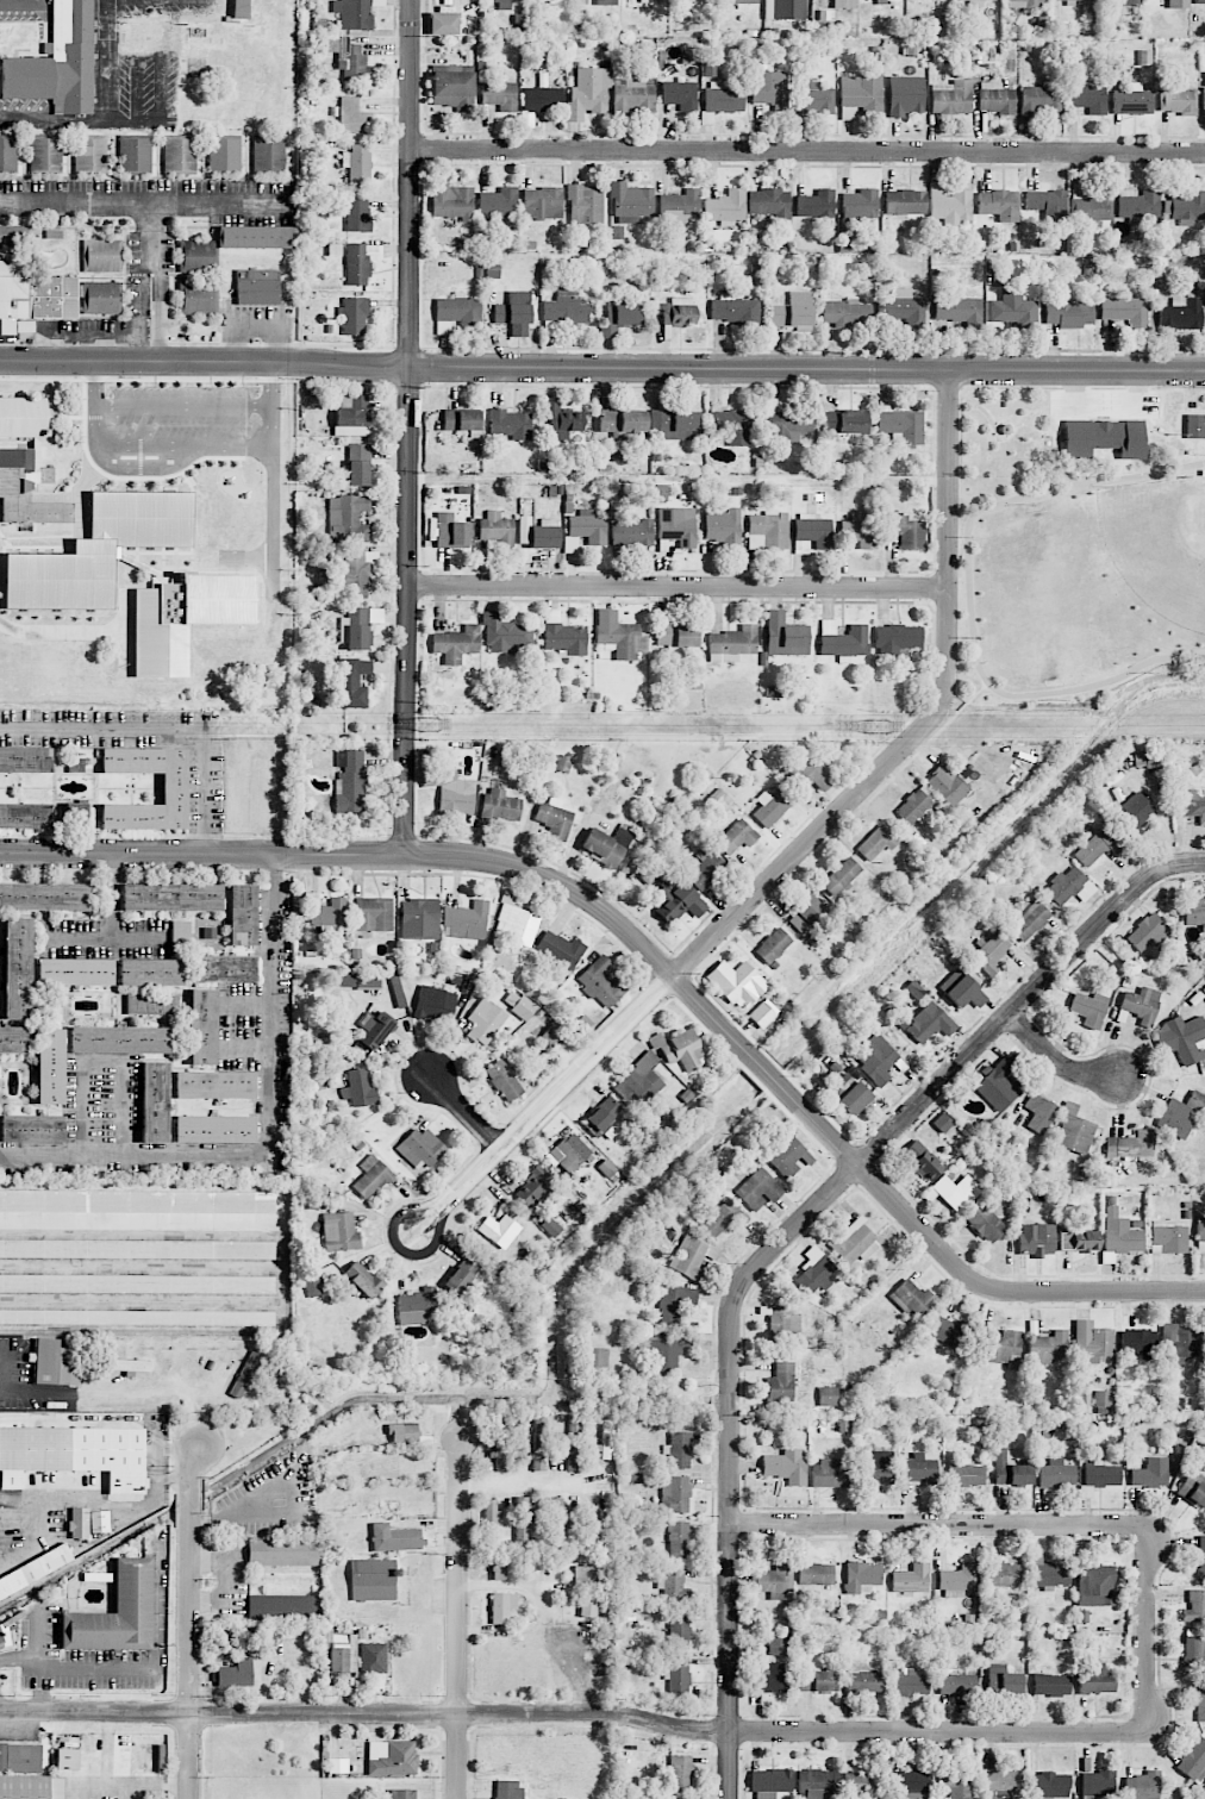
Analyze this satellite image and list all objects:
building: (1079, 0)
building: (455, 1)
building: (687, 1)
building: (1199, 1)
building: (377, 2)
building: (606, 2)
building: (976, 2)
building: (1025, 2)
building: (504, 4)
building: (843, 4)
building: (1178, 4)
building: (1122, 5)
building: (241, 8)
building: (444, 10)
building: (785, 10)
building: (354, 13)
building: (519, 23)
building: (443, 24)
building: (345, 57)
building: (57, 62)
road: (136, 88)
road: (160, 88)
building: (772, 88)
building: (452, 89)
building: (588, 93)
building: (860, 93)
building: (498, 94)
building: (680, 94)
building: (633, 95)
building: (905, 95)
building: (814, 96)
building: (724, 98)
building: (951, 98)
building: (995, 98)
building: (1088, 98)
building: (1203, 98)
building: (543, 99)
building: (1176, 99)
building: (1041, 100)
building: (1131, 100)
road: (105, 112)
building: (354, 117)
building: (8, 152)
building: (45, 152)
building: (90, 154)
building: (136, 154)
building: (179, 154)
building: (224, 154)
building: (268, 155)
road: (807, 155)
building: (357, 163)
building: (451, 200)
building: (905, 201)
building: (1137, 201)
road: (151, 202)
building: (498, 202)
building: (542, 202)
building: (630, 202)
building: (769, 202)
building: (816, 204)
building: (999, 204)
building: (1048, 204)
building: (585, 205)
building: (949, 205)
building: (859, 206)
building: (725, 207)
building: (1185, 207)
building: (1091, 208)
building: (680, 210)
building: (357, 214)
building: (8, 236)
building: (232, 244)
building: (333, 249)
building: (101, 255)
building: (360, 262)
building: (492, 270)
building: (1001, 271)
road: (155, 283)
building: (257, 286)
building: (32, 295)
building: (101, 298)
building: (199, 299)
building: (904, 308)
building: (564, 310)
building: (735, 310)
building: (959, 310)
building: (1013, 310)
building: (1126, 311)
building: (456, 312)
building: (678, 312)
building: (793, 312)
building: (511, 313)
building: (845, 313)
building: (1070, 313)
building: (354, 316)
building: (622, 316)
building: (1180, 316)
road: (601, 371)
road: (95, 385)
road: (273, 385)
building: (358, 400)
road: (183, 405)
building: (24, 416)
building: (562, 419)
building: (620, 419)
building: (461, 420)
building: (351, 421)
building: (843, 421)
building: (786, 423)
building: (510, 424)
building: (675, 424)
building: (732, 425)
building: (901, 425)
building: (1194, 426)
road: (408, 427)
building: (1104, 438)
road: (183, 445)
building: (358, 464)
building: (26, 491)
road: (274, 508)
building: (346, 519)
building: (678, 525)
building: (587, 526)
building: (723, 526)
building: (497, 529)
building: (768, 530)
building: (860, 530)
building: (450, 531)
building: (905, 531)
building: (811, 532)
building: (632, 533)
park: (1080, 542)
building: (98, 550)
building: (351, 573)
road: (680, 588)
building: (185, 617)
road: (61, 627)
building: (355, 629)
building: (505, 633)
building: (619, 636)
building: (676, 636)
building: (785, 636)
building: (566, 638)
building: (897, 638)
building: (842, 641)
building: (456, 643)
building: (731, 643)
building: (350, 682)
power tower: (429, 725)
power tower: (880, 726)
road: (161, 729)
building: (24, 758)
building: (1147, 758)
building: (561, 763)
building: (807, 773)
building: (349, 781)
building: (947, 785)
building: (174, 788)
building: (450, 789)
building: (1193, 804)
building: (500, 805)
building: (770, 807)
building: (914, 808)
building: (1132, 813)
building: (76, 814)
building: (25, 816)
building: (555, 818)
building: (736, 836)
building: (876, 843)
building: (606, 845)
building: (1095, 847)
road: (201, 852)
road: (797, 855)
building: (704, 868)
building: (841, 876)
building: (1069, 886)
building: (45, 895)
building: (171, 897)
building: (675, 902)
building: (325, 911)
building: (1194, 912)
building: (806, 913)
building: (242, 914)
building: (373, 914)
building: (418, 918)
building: (466, 920)
road: (110, 922)
building: (1029, 922)
building: (514, 924)
building: (1148, 932)
building: (180, 933)
road: (75, 937)
building: (773, 945)
building: (560, 948)
building: (989, 952)
road: (656, 961)
building: (18, 968)
building: (225, 968)
building: (75, 972)
building: (150, 972)
building: (367, 981)
building: (601, 983)
building: (737, 983)
building: (962, 989)
road: (1023, 999)
building: (435, 1002)
building: (151, 1004)
building: (1141, 1005)
building: (523, 1007)
building: (1088, 1008)
building: (762, 1013)
building: (485, 1020)
building: (930, 1023)
building: (202, 1026)
building: (374, 1029)
building: (1181, 1038)
building: (11, 1039)
building: (119, 1039)
building: (554, 1039)
building: (679, 1049)
road: (1056, 1057)
building: (876, 1058)
building: (50, 1067)
building: (505, 1080)
building: (638, 1081)
building: (999, 1083)
building: (214, 1085)
building: (358, 1088)
building: (854, 1098)
building: (1195, 1100)
building: (154, 1101)
road: (85, 1110)
road: (126, 1110)
building: (1039, 1112)
road: (466, 1114)
building: (602, 1116)
building: (1174, 1118)
building: (942, 1123)
building: (32, 1128)
building: (214, 1129)
building: (1074, 1131)
building: (1130, 1144)
road: (275, 1147)
building: (420, 1148)
building: (569, 1153)
building: (788, 1155)
building: (922, 1161)
building: (372, 1176)
building: (532, 1186)
building: (758, 1189)
building: (954, 1192)
building: (137, 1200)
building: (720, 1219)
road: (142, 1220)
building: (986, 1224)
building: (498, 1228)
road: (793, 1228)
building: (339, 1232)
building: (1120, 1233)
building: (1200, 1235)
building: (1167, 1237)
building: (1036, 1239)
building: (1078, 1241)
building: (854, 1242)
building: (138, 1247)
building: (693, 1256)
road: (285, 1257)
road: (142, 1262)
building: (816, 1270)
building: (467, 1272)
building: (362, 1280)
building: (138, 1282)
building: (313, 1283)
road: (1005, 1292)
road: (142, 1298)
building: (912, 1298)
building: (675, 1303)
building: (418, 1306)
building: (137, 1317)
building: (785, 1324)
building: (943, 1330)
building: (1092, 1342)
building: (1138, 1342)
building: (1178, 1343)
building: (1004, 1348)
building: (1048, 1348)
building: (662, 1353)
building: (54, 1363)
building: (127, 1366)
road: (7, 1373)
building: (245, 1374)
road: (675, 1376)
building: (781, 1382)
building: (828, 1395)
building: (1103, 1398)
building: (404, 1432)
building: (500, 1442)
building: (573, 1442)
building: (538, 1443)
building: (678, 1449)
building: (75, 1454)
building: (786, 1466)
building: (880, 1467)
building: (919, 1468)
building: (1009, 1470)
building: (830, 1473)
building: (1149, 1473)
building: (968, 1474)
building: (1056, 1474)
building: (1098, 1476)
road: (529, 1483)
building: (1193, 1489)
building: (674, 1494)
road: (102, 1501)
road: (40, 1518)
building: (489, 1522)
building: (79, 1523)
building: (522, 1524)
building: (555, 1524)
building: (592, 1525)
road: (986, 1525)
building: (394, 1538)
building: (679, 1539)
road: (730, 1547)
building: (283, 1551)
building: (1201, 1557)
building: (498, 1567)
building: (35, 1572)
building: (1047, 1573)
building: (816, 1574)
building: (1003, 1574)
building: (862, 1578)
building: (911, 1579)
road: (225, 1580)
building: (373, 1580)
building: (774, 1580)
building: (957, 1580)
building: (673, 1584)
building: (1095, 1585)
road: (513, 1586)
building: (588, 1605)
building: (501, 1606)
building: (1194, 1606)
building: (282, 1607)
building: (114, 1612)
road: (460, 1617)
road: (157, 1618)
road: (191, 1619)
building: (678, 1630)
building: (0, 1643)
road: (43, 1643)
building: (268, 1643)
building: (223, 1644)
building: (780, 1645)
building: (1193, 1651)
building: (343, 1653)
road: (81, 1667)
building: (235, 1674)
building: (678, 1674)
building: (772, 1679)
building: (1095, 1679)
building: (817, 1680)
building: (863, 1680)
building: (1001, 1680)
building: (1049, 1682)
building: (910, 1684)
building: (957, 1685)
building: (1200, 1703)
road: (628, 1716)
building: (20, 1756)
building: (391, 1757)
building: (67, 1759)
building: (1193, 1760)
road: (107, 1761)
building: (678, 1772)
building: (770, 1782)
building: (817, 1782)
building: (863, 1782)
building: (957, 1782)
building: (1005, 1782)
building: (1097, 1782)
road: (130, 1784)
building: (910, 1785)
building: (31, 1786)
building: (1049, 1786)
building: (1143, 1786)
building: (507, 1789)
building: (402, 1793)

